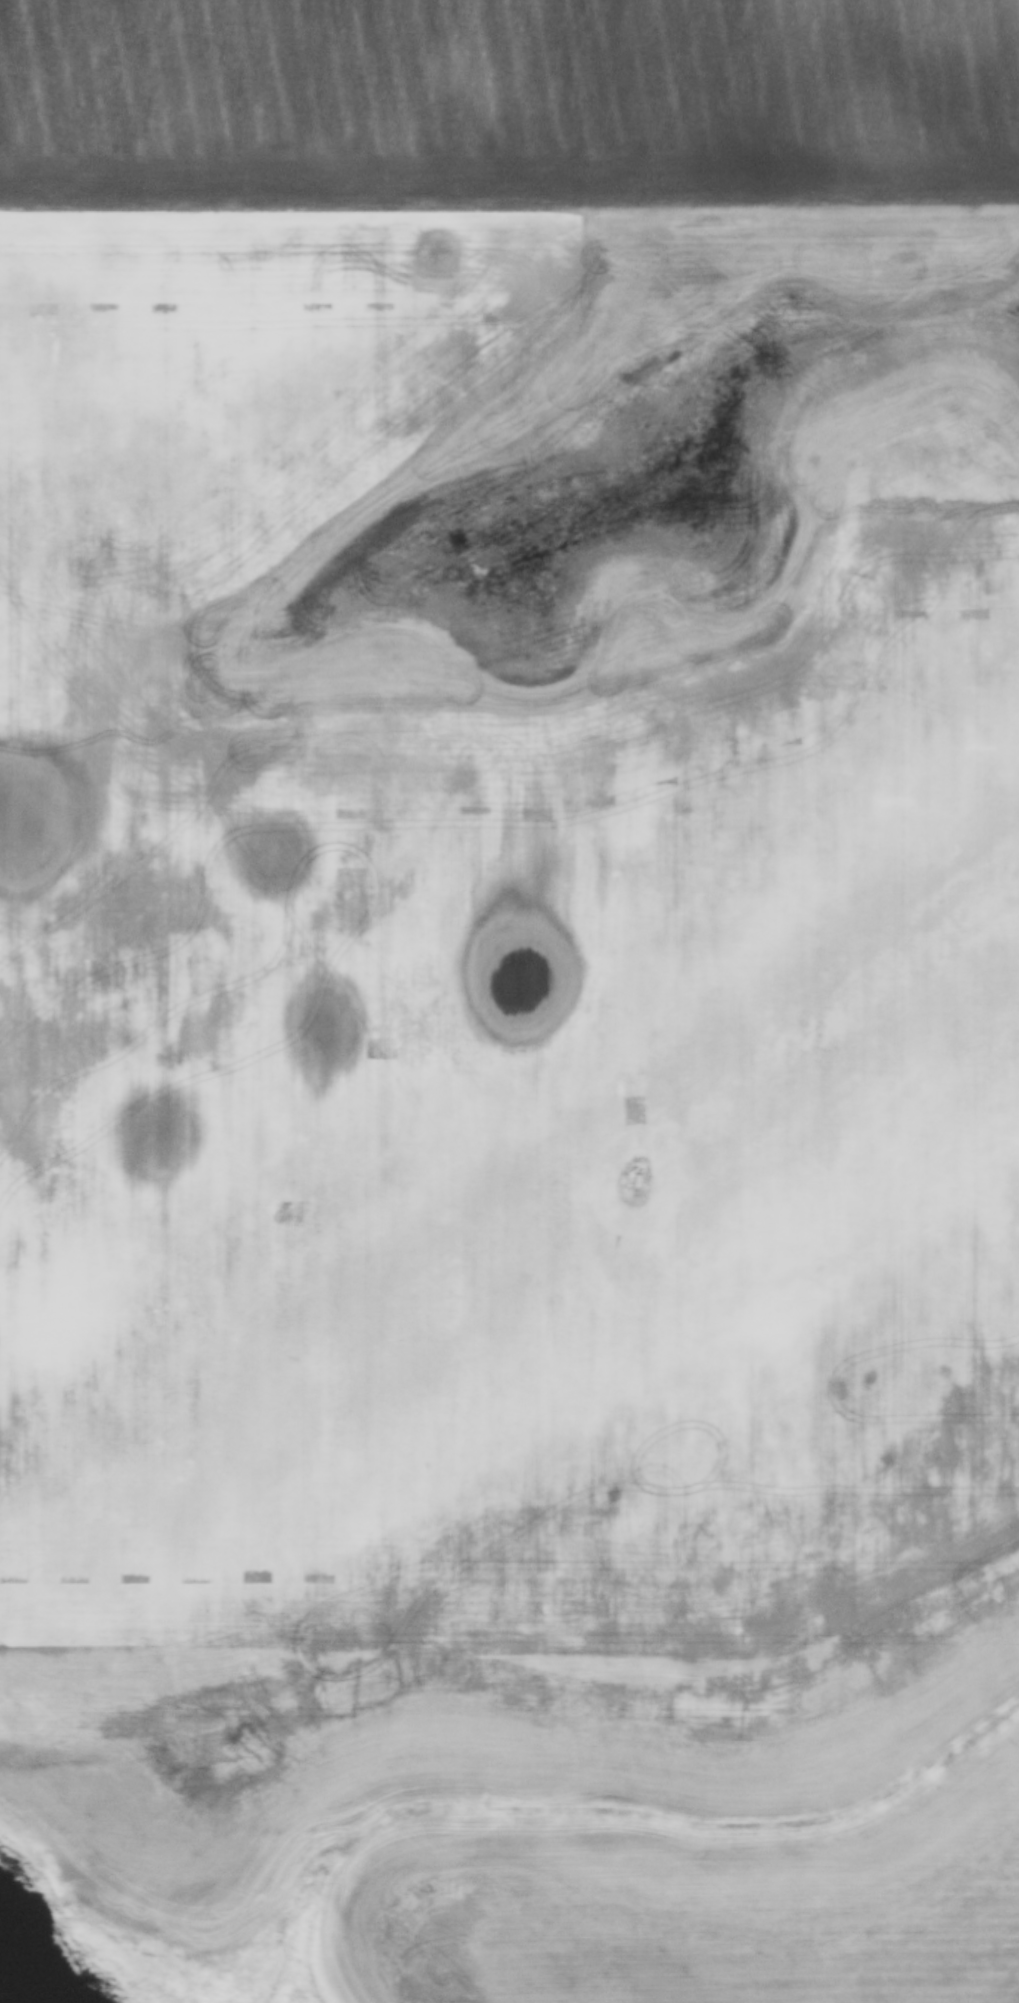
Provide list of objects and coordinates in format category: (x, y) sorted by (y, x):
road: (509, 180)

